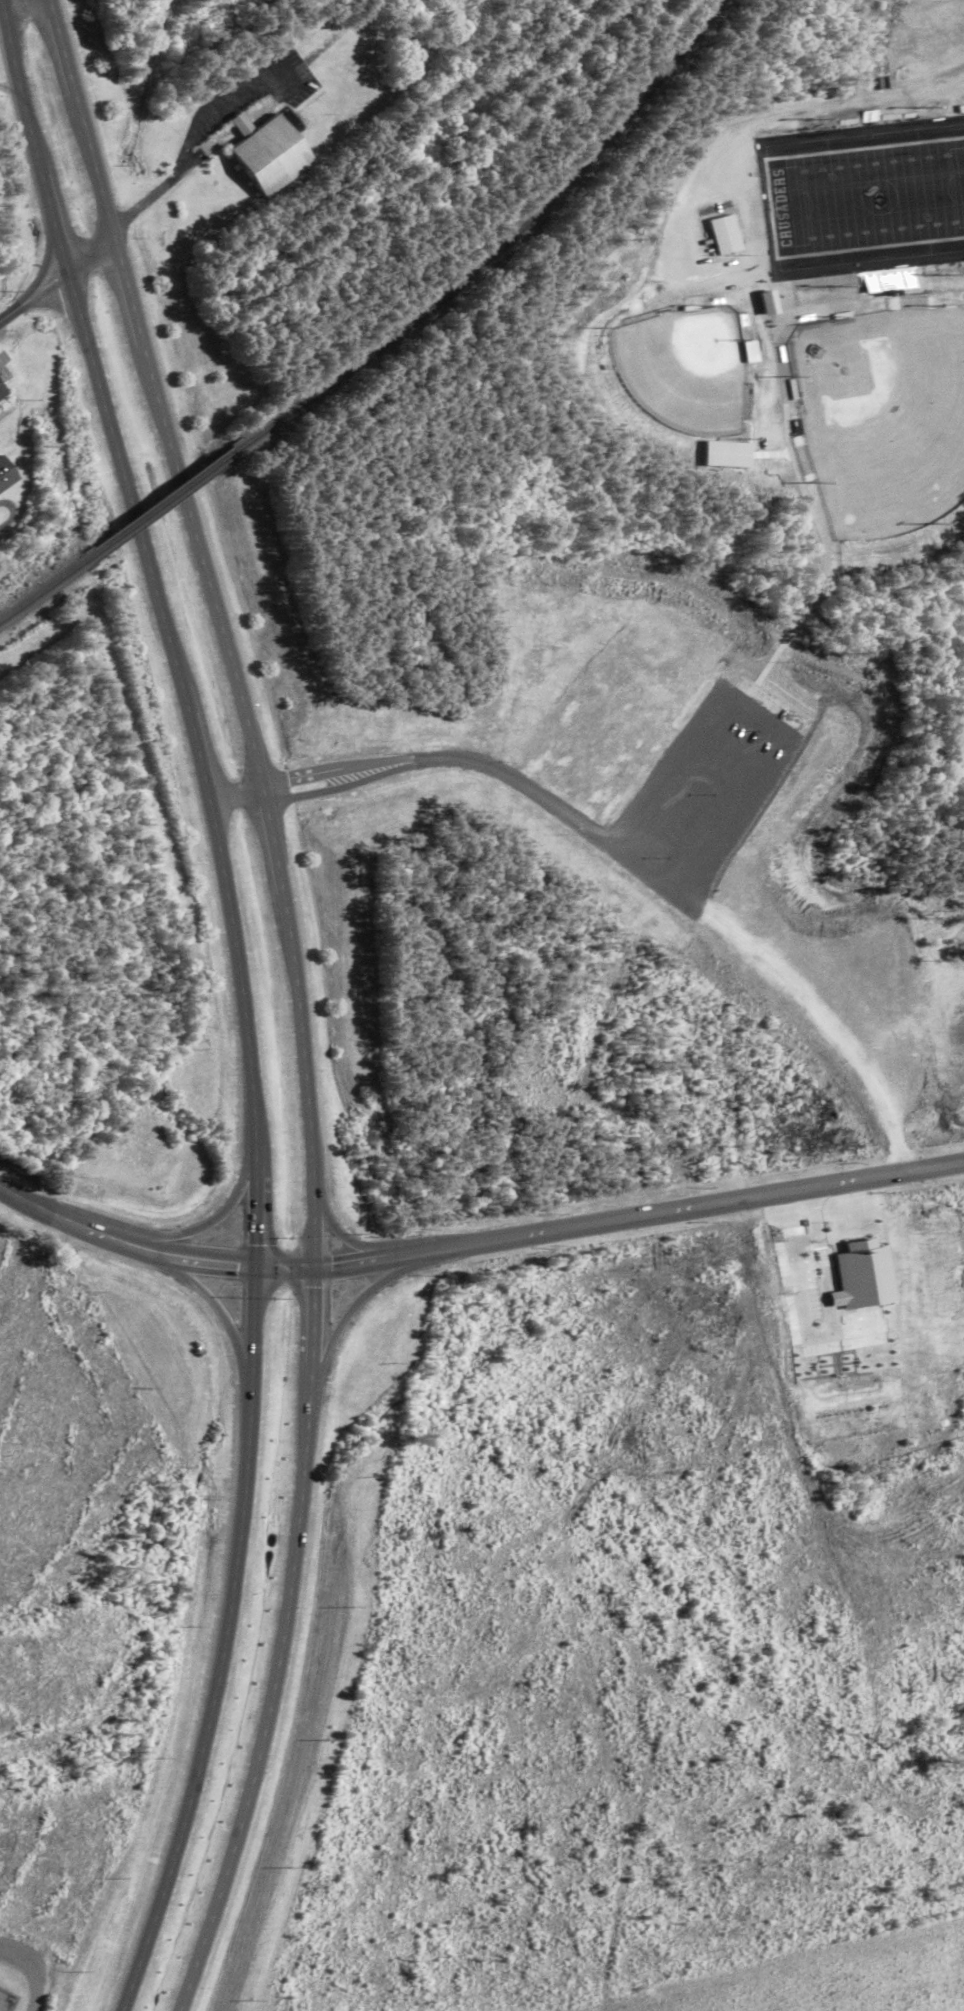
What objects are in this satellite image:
road: (24, 5)
road: (1, 11)
road: (16, 74)
road: (10, 89)
road: (905, 90)
road: (80, 124)
building: (269, 159)
park: (865, 193)
road: (138, 206)
road: (50, 210)
railway: (506, 242)
road: (55, 281)
road: (134, 312)
park: (678, 363)
building: (3, 394)
park: (877, 410)
road: (123, 470)
building: (6, 475)
railway: (170, 502)
road: (210, 582)
railway: (47, 591)
road: (749, 711)
road: (195, 733)
road: (332, 765)
road: (336, 782)
parking lot: (698, 782)
road: (237, 795)
road: (545, 802)
road: (277, 859)
road: (239, 973)
road: (812, 1012)
road: (306, 1098)
road: (19, 1199)
road: (254, 1206)
road: (679, 1210)
road: (208, 1224)
road: (95, 1230)
road: (336, 1234)
road: (203, 1261)
road: (324, 1265)
traffic signals: (255, 1266)
traffic signals: (313, 1266)
road: (351, 1306)
road: (218, 1308)
road: (311, 1329)
building: (863, 1341)
road: (246, 1450)
road: (296, 1519)
road: (182, 1824)
road: (237, 1830)
power substation: (5, 2001)

